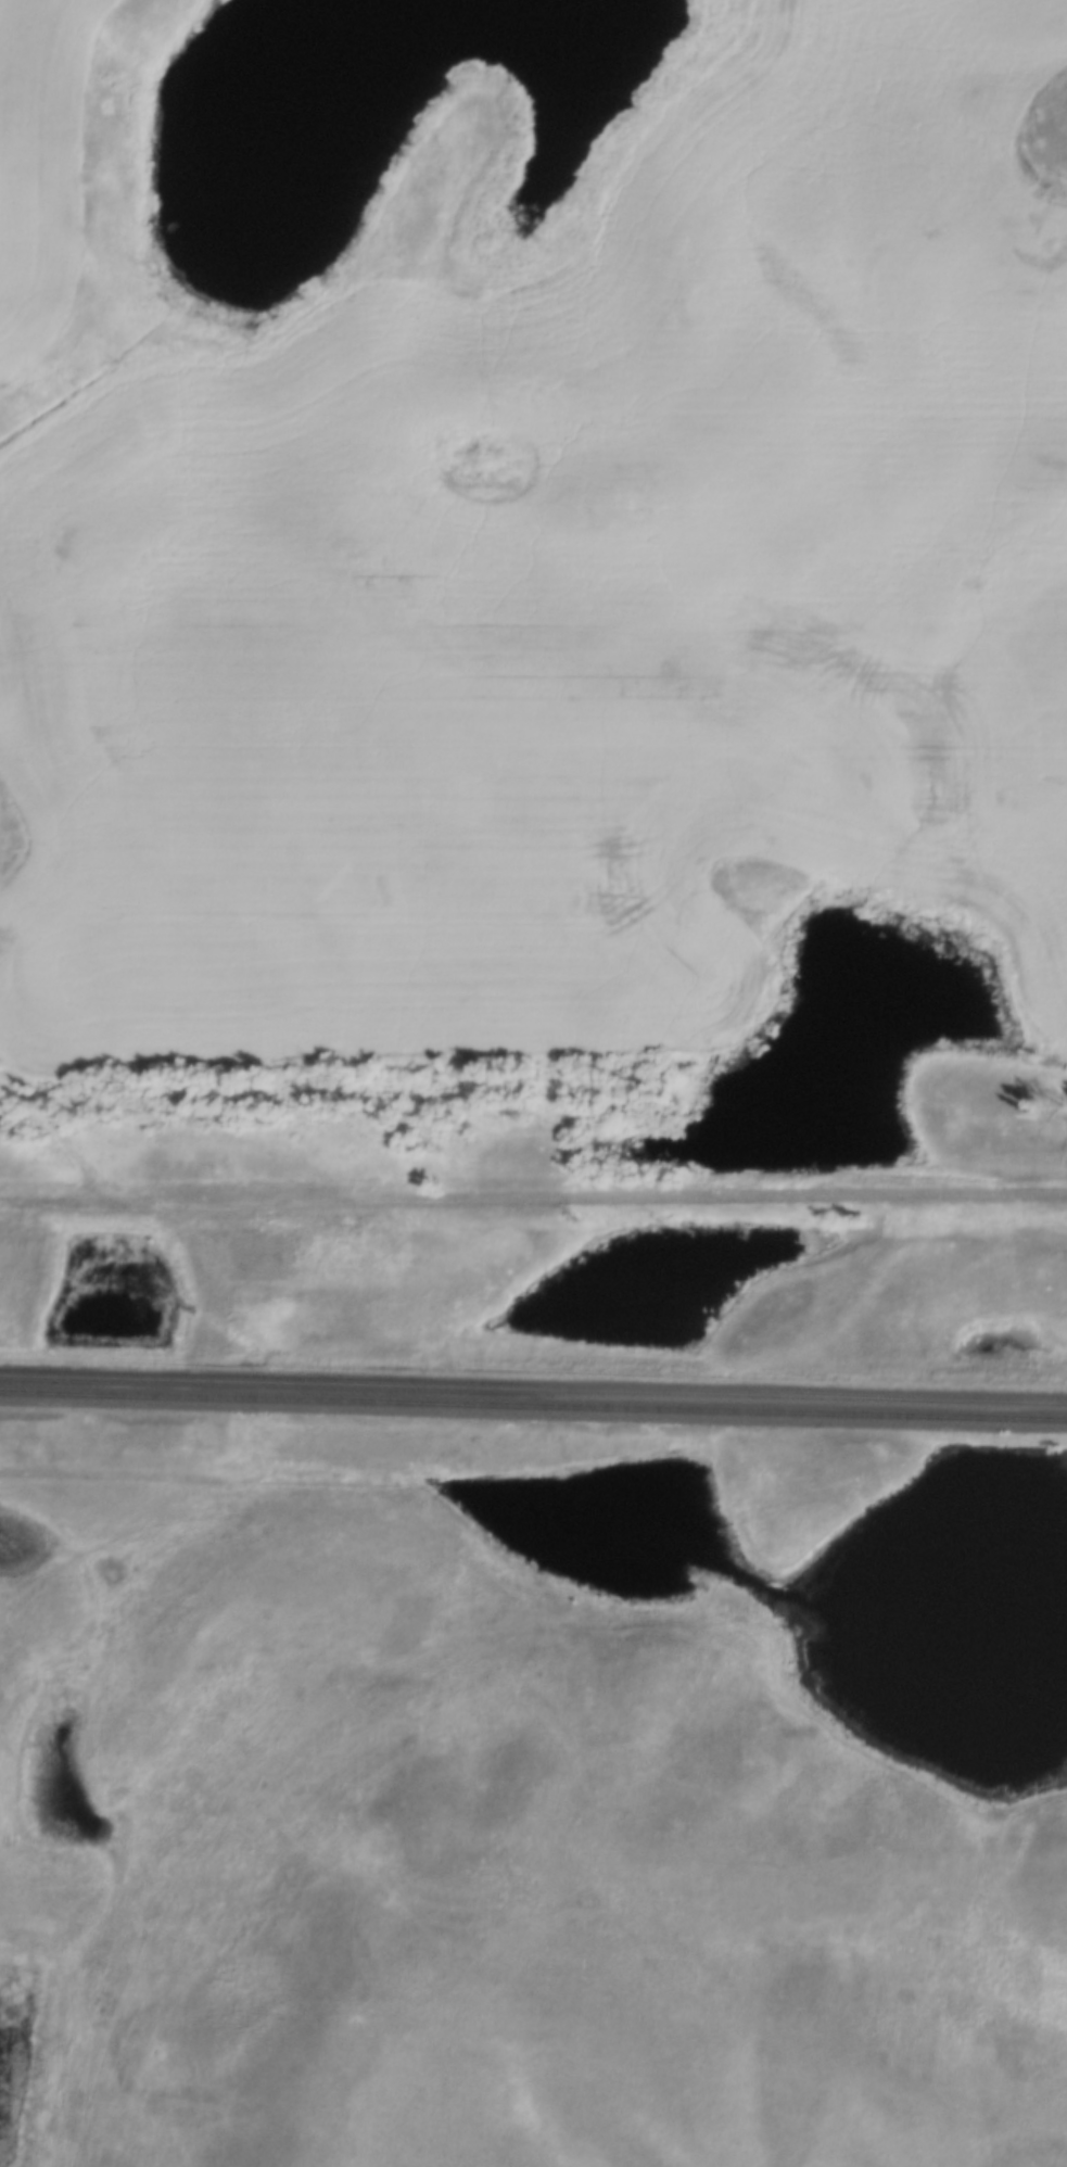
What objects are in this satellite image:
railway: (533, 1377)
railway: (533, 1407)

